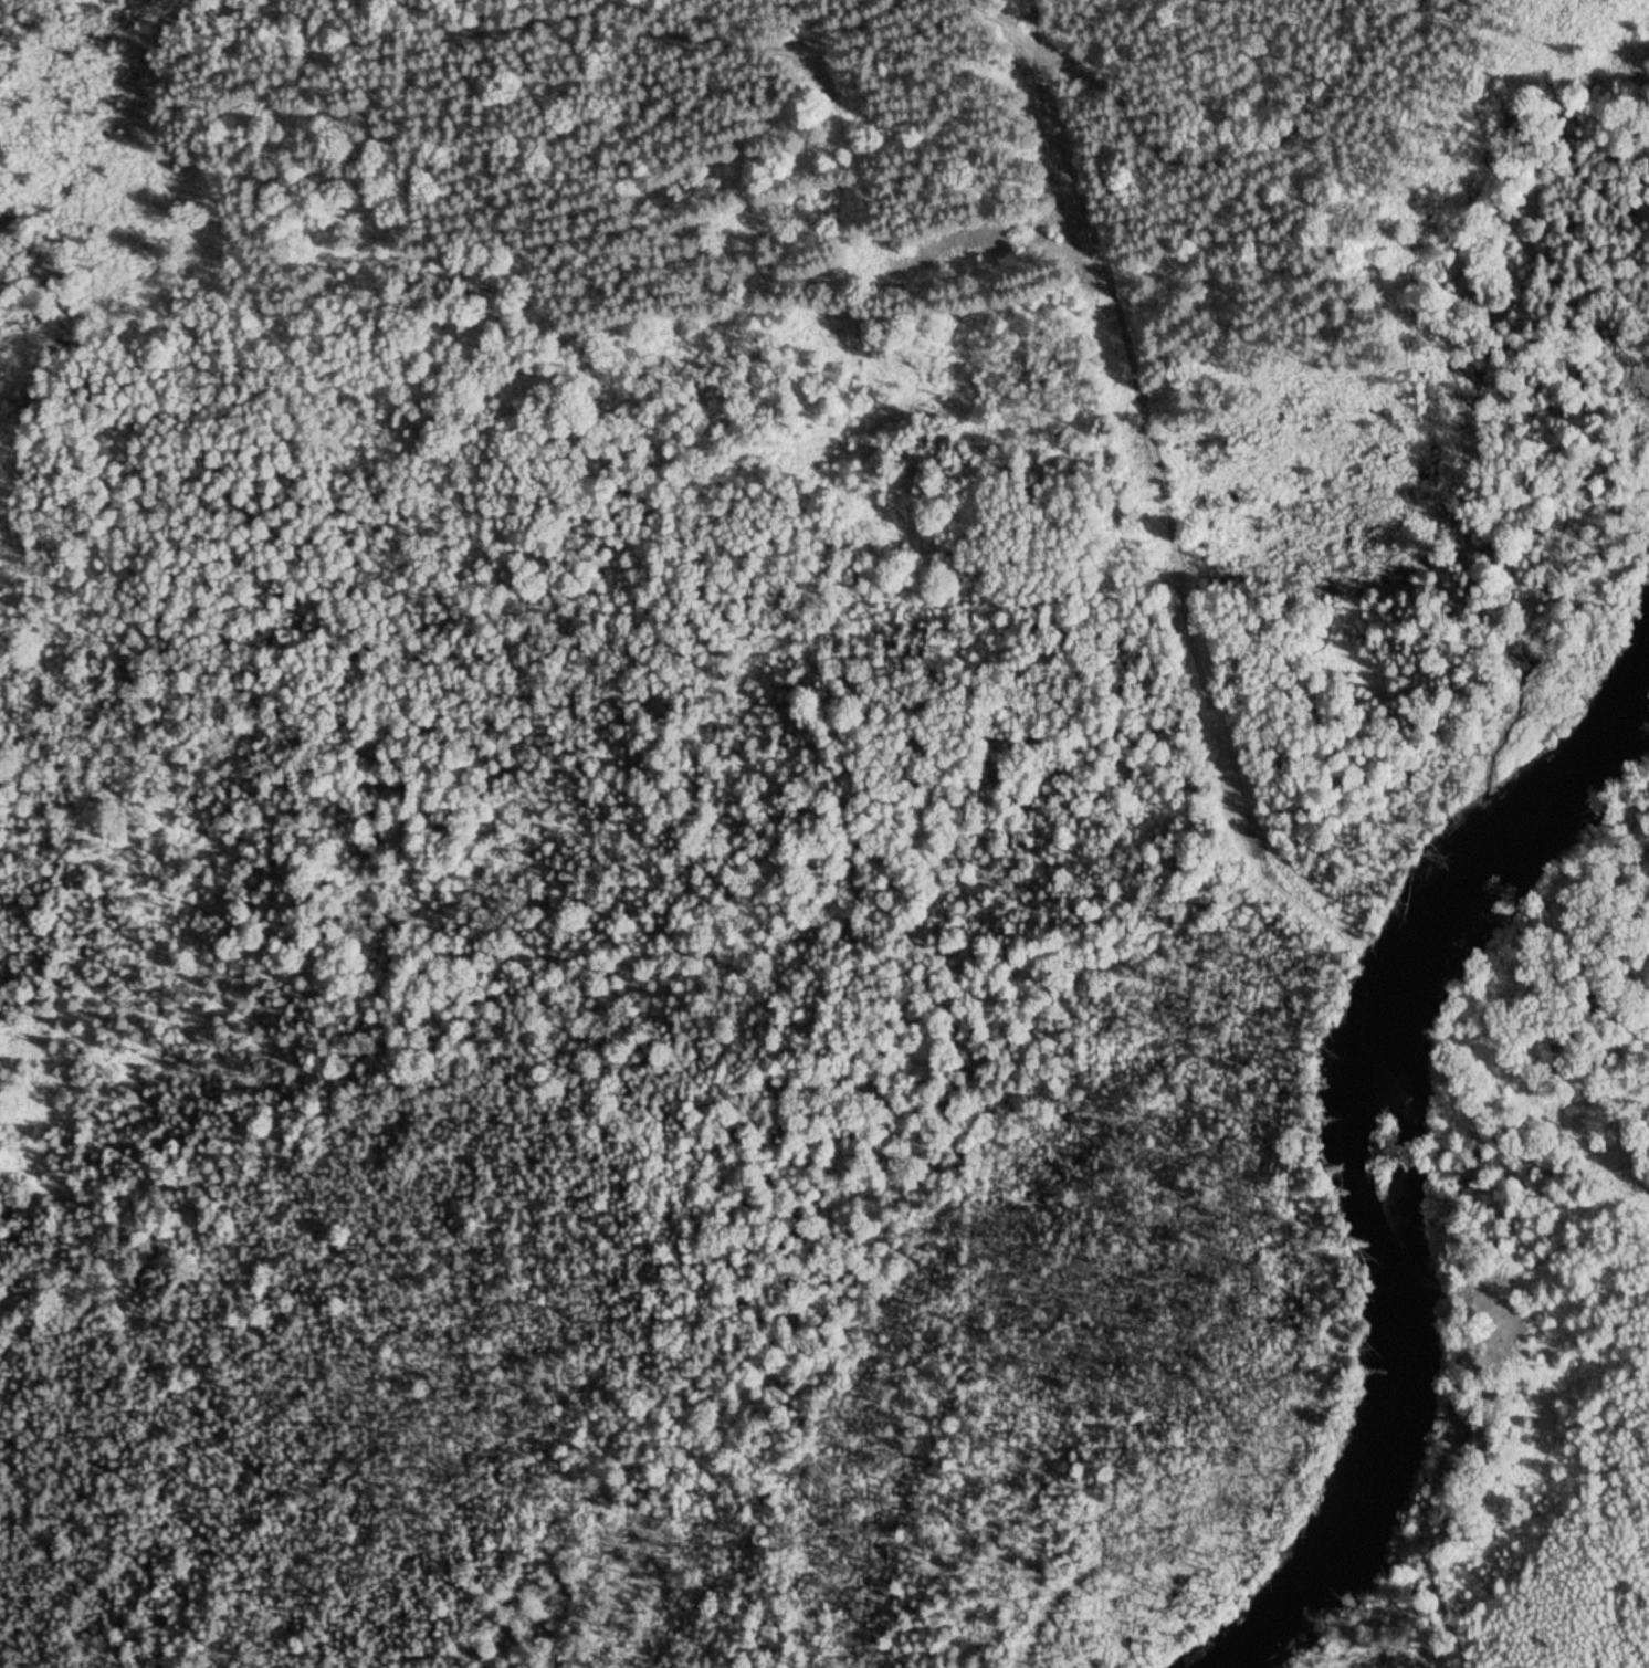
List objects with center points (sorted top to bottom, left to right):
road: (922, 10)
road: (1040, 24)
road: (1139, 402)
river: (1404, 1153)
road: (1480, 1307)

